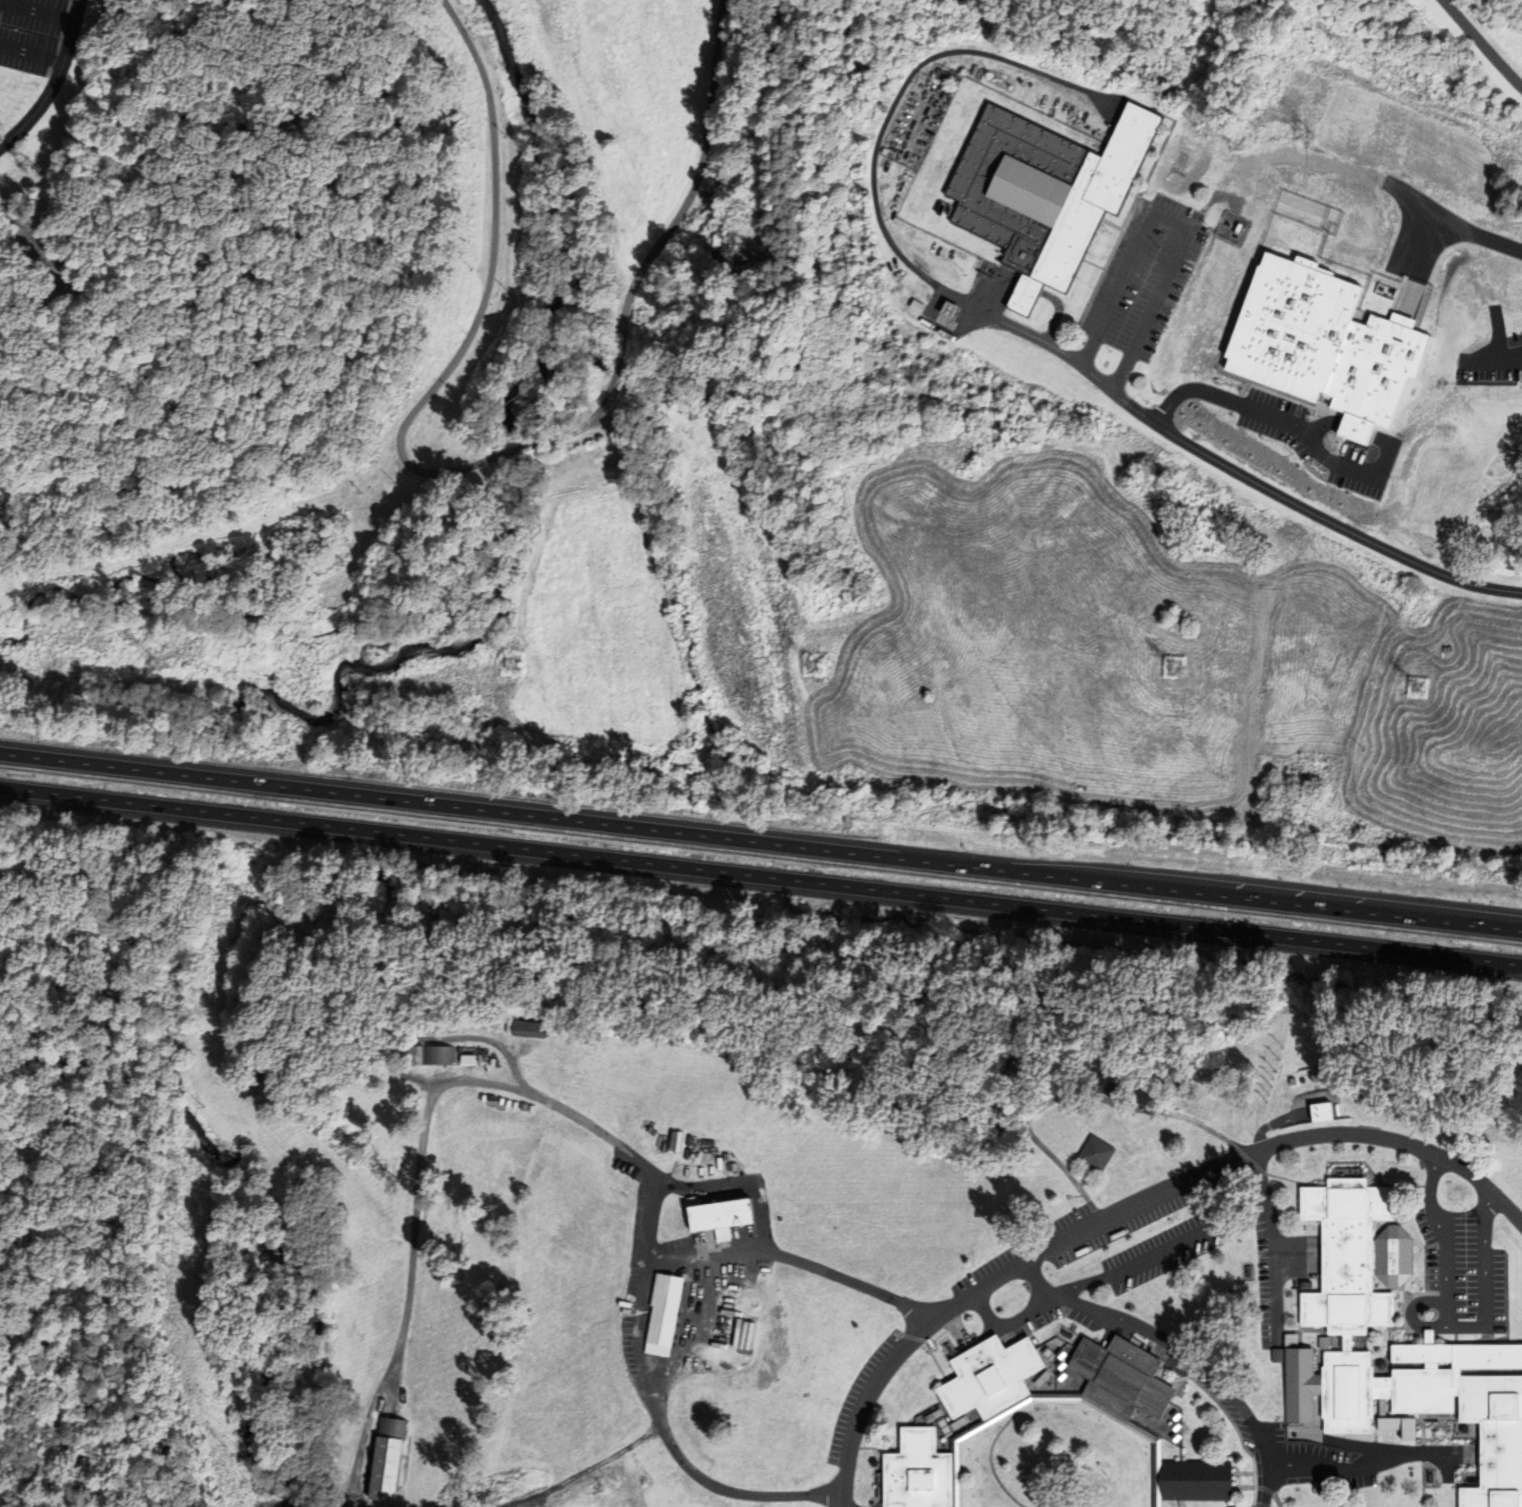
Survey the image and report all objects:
road: (37, 11)
parking lot: (31, 33)
road: (1482, 43)
road: (31, 53)
road: (291, 58)
building: (944, 77)
road: (54, 81)
road: (904, 82)
power tower: (18, 165)
building: (1043, 193)
road: (1177, 221)
river: (572, 224)
parking lot: (1141, 286)
building: (948, 311)
road: (1009, 325)
building: (1295, 337)
building: (1378, 338)
building: (1339, 339)
parking lot: (1106, 359)
building: (1521, 379)
building: (1448, 391)
road: (1408, 403)
building: (1365, 445)
river: (513, 447)
road: (474, 461)
building: (1441, 476)
building: (1399, 477)
road: (204, 493)
road: (1452, 496)
road: (1290, 502)
crop: (590, 543)
crop: (749, 617)
river: (419, 649)
power tower: (153, 661)
power tower: (512, 662)
power tower: (813, 664)
crop: (594, 666)
power tower: (1174, 666)
power tower: (1418, 686)
river: (176, 791)
road: (760, 841)
road: (761, 876)
road: (1506, 927)
building: (520, 1030)
building: (425, 1056)
building: (463, 1059)
road: (1077, 1094)
building: (1315, 1113)
road: (1273, 1142)
road: (624, 1149)
building: (1090, 1154)
river: (234, 1185)
building: (714, 1217)
road: (1274, 1240)
road: (1158, 1253)
road: (792, 1259)
road: (1027, 1313)
building: (660, 1315)
building: (1394, 1346)
road: (890, 1355)
road: (1200, 1365)
building: (1396, 1428)
building: (1005, 1452)
building: (383, 1459)

